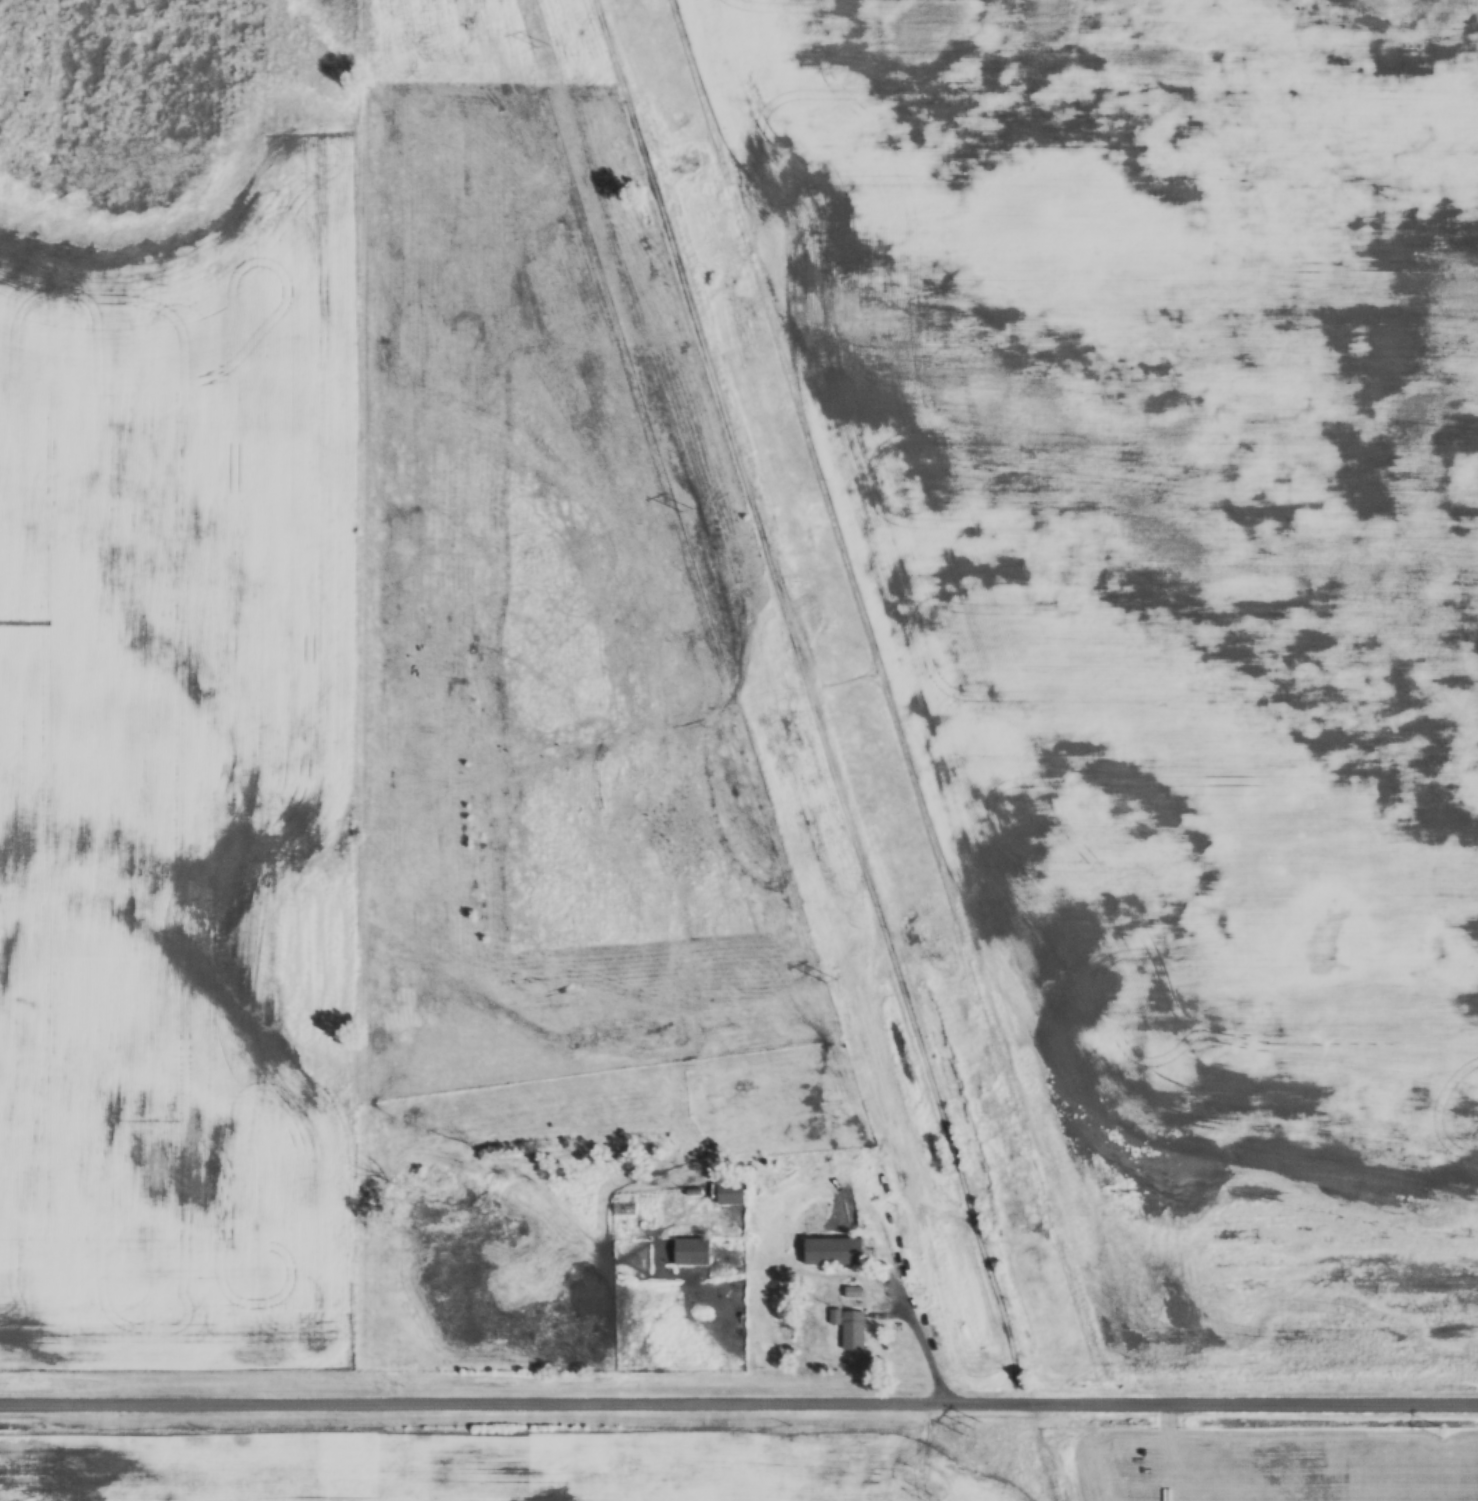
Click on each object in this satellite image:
power tower: (542, 46)
power tower: (686, 510)
power tower: (829, 980)
building: (731, 1192)
building: (692, 1250)
building: (835, 1251)
building: (850, 1327)
road: (922, 1347)
road: (739, 1407)
power tower: (968, 1429)
power tower: (1439, 1432)

